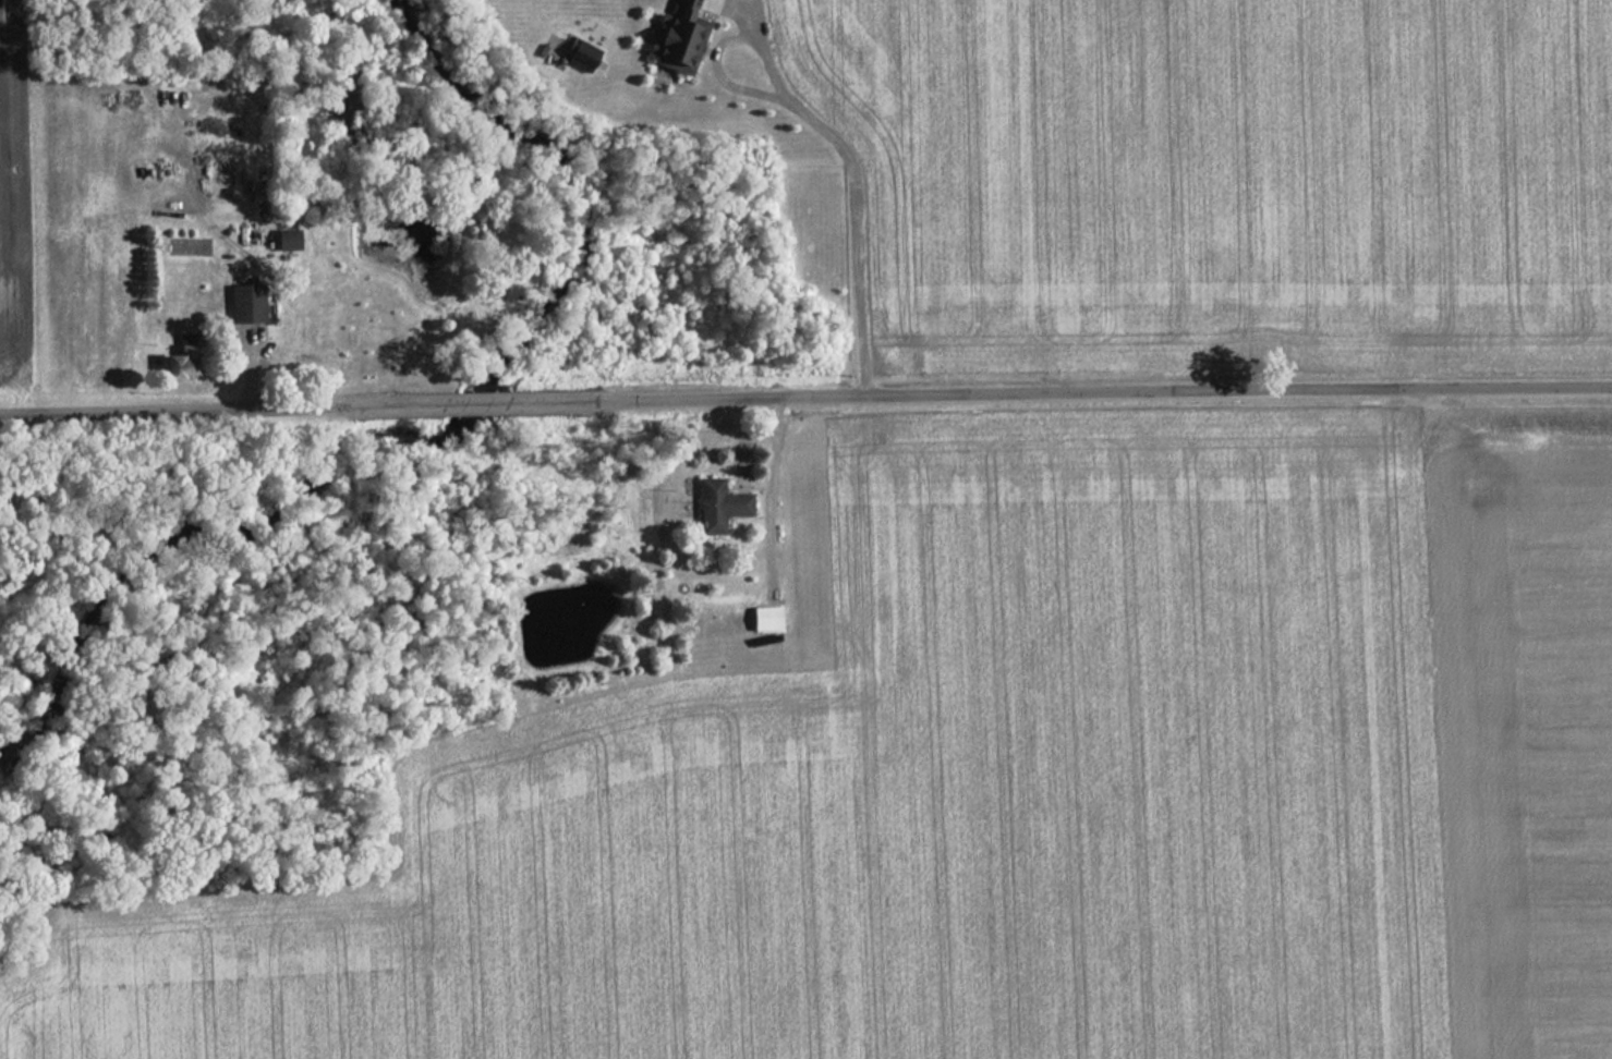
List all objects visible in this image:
building: (675, 38)
building: (577, 56)
road: (826, 137)
crop: (1222, 179)
crop: (7, 215)
building: (282, 240)
building: (243, 303)
road: (805, 402)
building: (715, 506)
building: (762, 618)
crop: (1010, 798)

